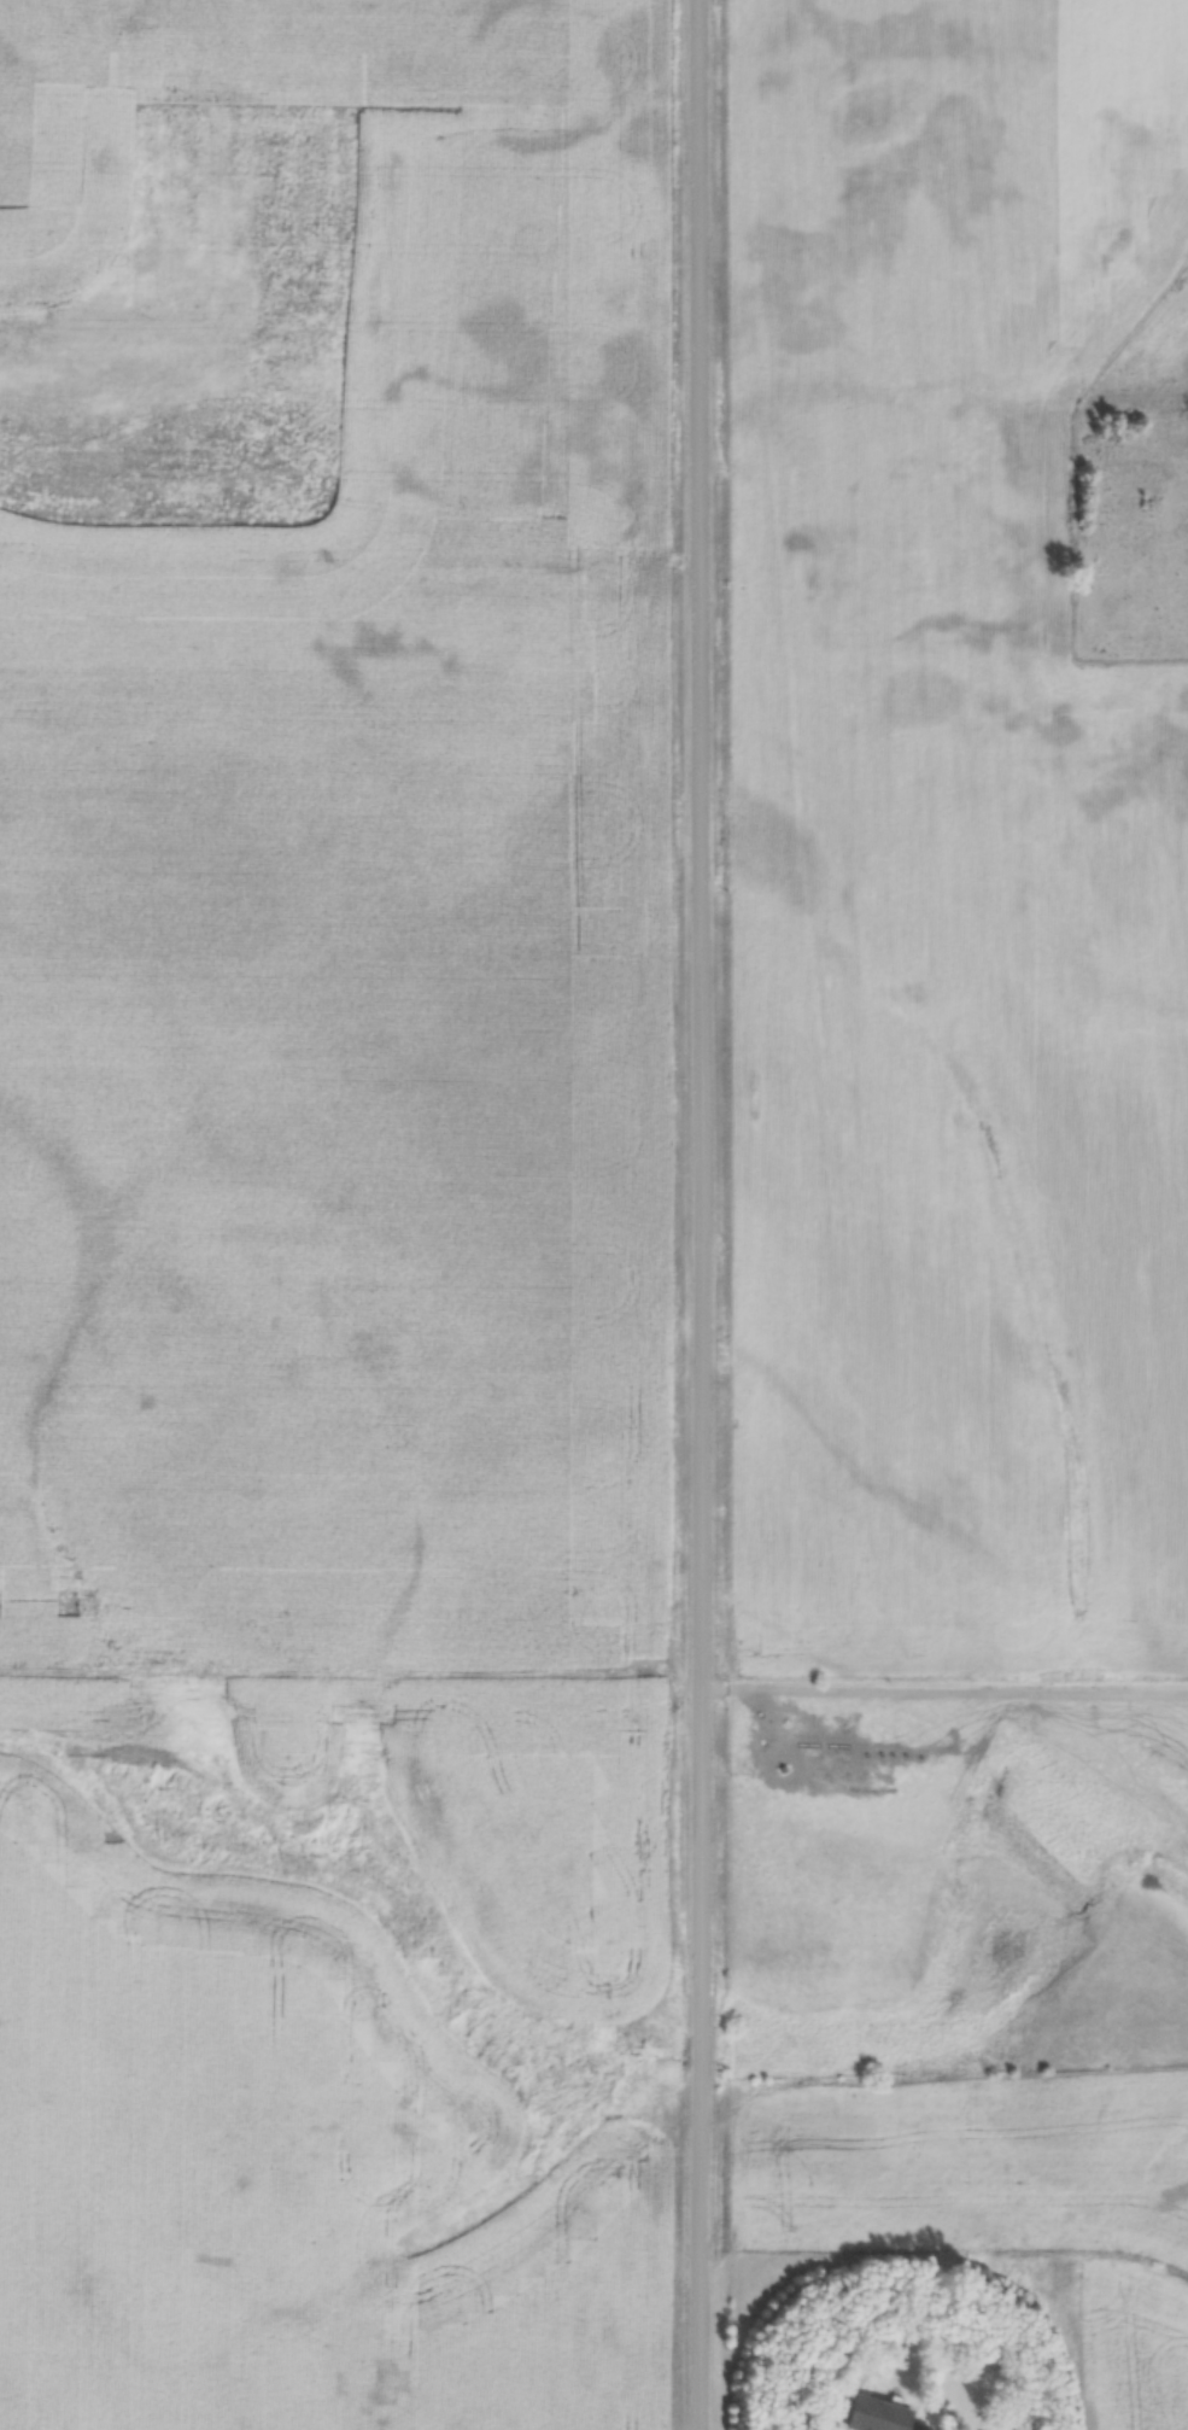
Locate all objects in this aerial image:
road: (696, 1214)
road: (938, 1692)
building: (877, 2416)

